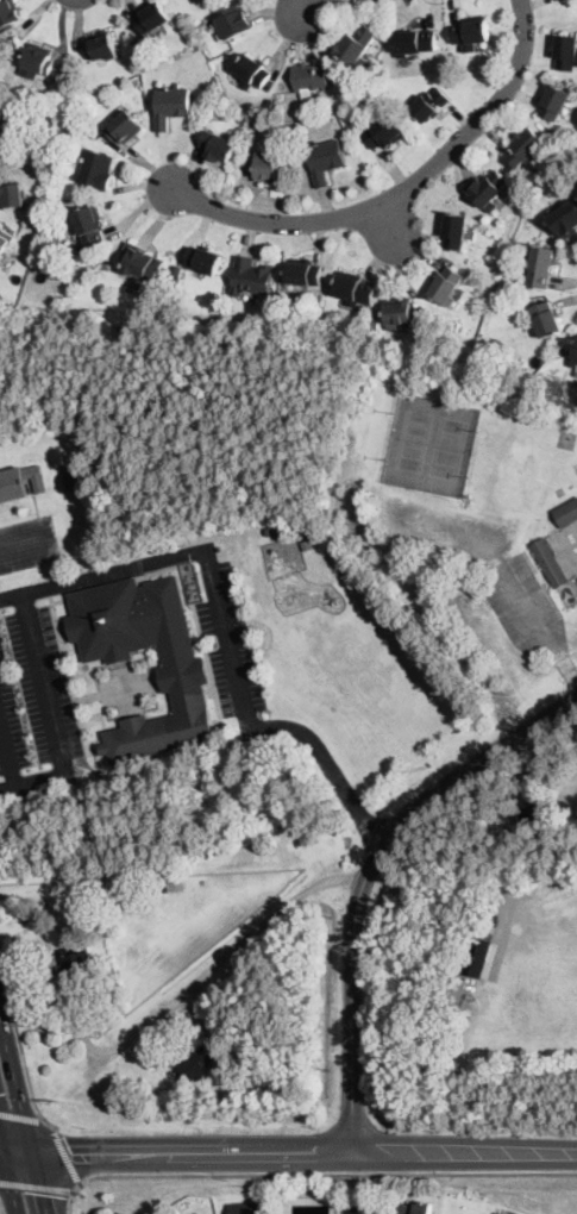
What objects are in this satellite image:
building: (566, 2)
road: (305, 6)
building: (10, 14)
building: (152, 19)
building: (236, 21)
building: (471, 33)
building: (416, 42)
building: (357, 44)
building: (101, 46)
building: (565, 51)
building: (197, 55)
building: (2, 60)
building: (39, 60)
building: (253, 70)
building: (311, 76)
building: (556, 102)
building: (171, 105)
building: (431, 105)
building: (70, 111)
building: (125, 127)
building: (385, 132)
building: (219, 146)
building: (525, 146)
building: (326, 161)
building: (270, 169)
building: (96, 170)
building: (488, 189)
building: (11, 193)
road: (402, 193)
road: (389, 220)
building: (565, 220)
building: (90, 226)
building: (456, 231)
building: (4, 239)
building: (203, 259)
building: (140, 262)
building: (541, 265)
building: (177, 269)
building: (305, 273)
building: (251, 277)
building: (445, 286)
building: (355, 289)
building: (1, 308)
building: (400, 312)
building: (547, 320)
building: (575, 359)
park: (432, 445)
building: (71, 476)
building: (20, 482)
road: (37, 507)
building: (566, 513)
building: (274, 531)
road: (27, 542)
parking lot: (29, 544)
building: (550, 562)
road: (539, 624)
road: (226, 630)
parking lot: (230, 649)
building: (183, 674)
road: (44, 682)
parking lot: (44, 684)
parking lot: (11, 721)
road: (7, 756)
road: (32, 780)
building: (528, 816)
road: (366, 876)
building: (169, 886)
building: (101, 955)
building: (477, 957)
building: (76, 971)
road: (207, 971)
road: (21, 1043)
building: (197, 1064)
building: (238, 1082)
road: (24, 1113)
road: (23, 1114)
road: (1, 1141)
road: (1, 1151)
road: (18, 1152)
road: (67, 1152)
road: (305, 1153)
traffic signals: (73, 1156)
road: (327, 1175)
road: (11, 1182)
road: (80, 1183)
road: (38, 1187)
traffic signals: (43, 1193)
road: (73, 1199)
road: (1, 1208)
building: (244, 1208)
road: (360, 1208)
building: (416, 1208)
building: (496, 1213)

